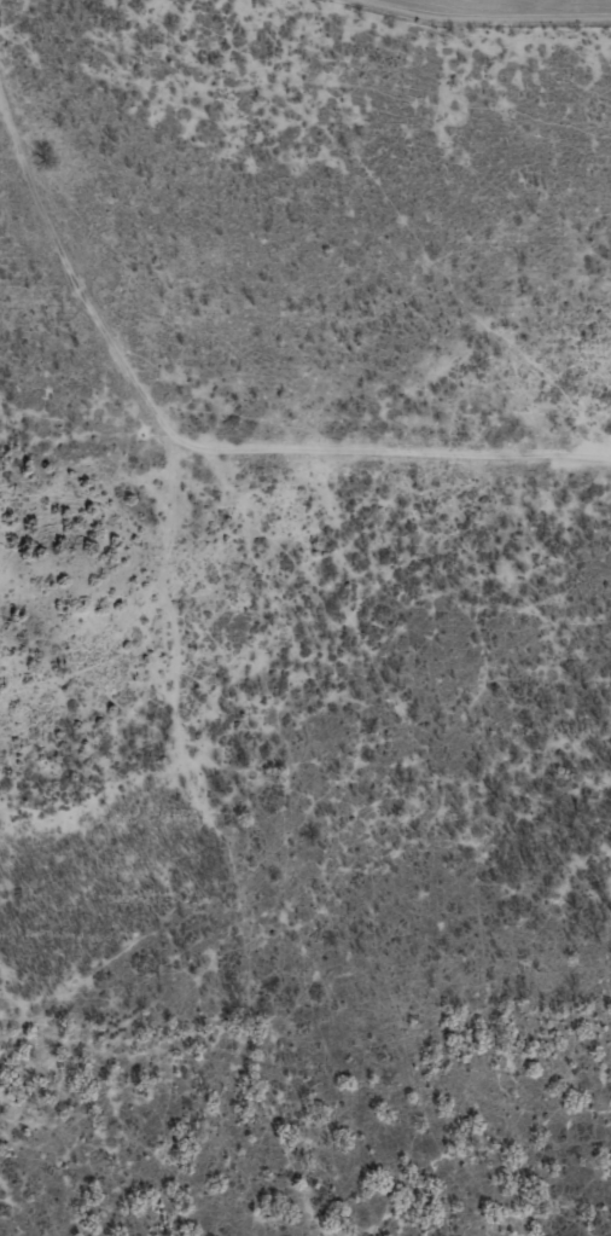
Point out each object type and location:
road: (512, 19)
road: (305, 451)

